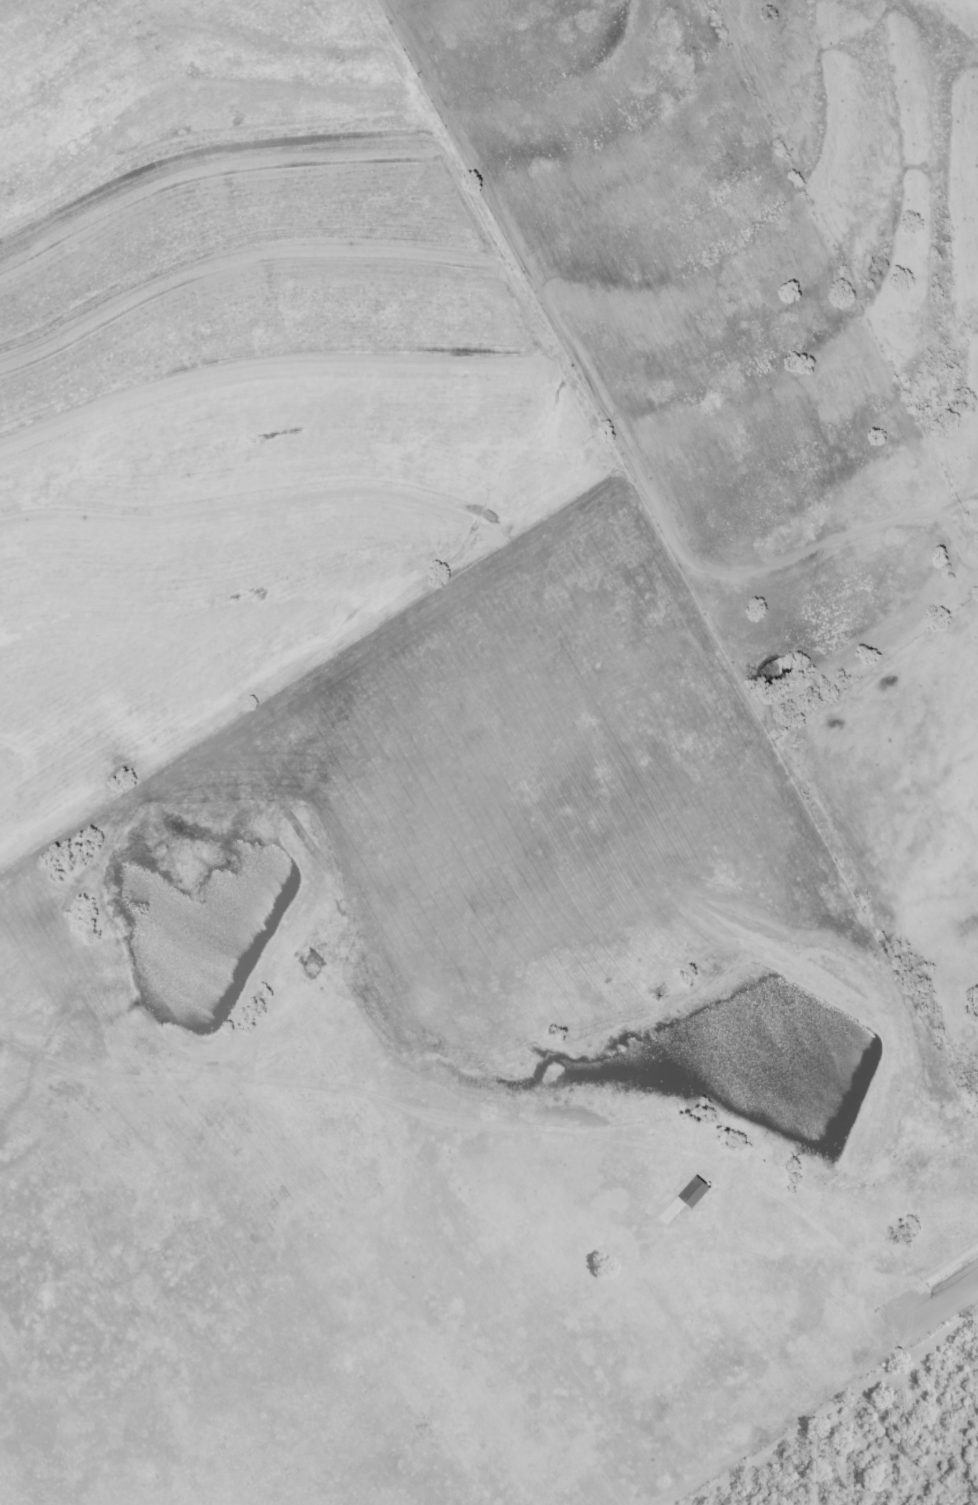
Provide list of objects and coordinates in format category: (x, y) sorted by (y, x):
road: (613, 428)
building: (693, 1193)

